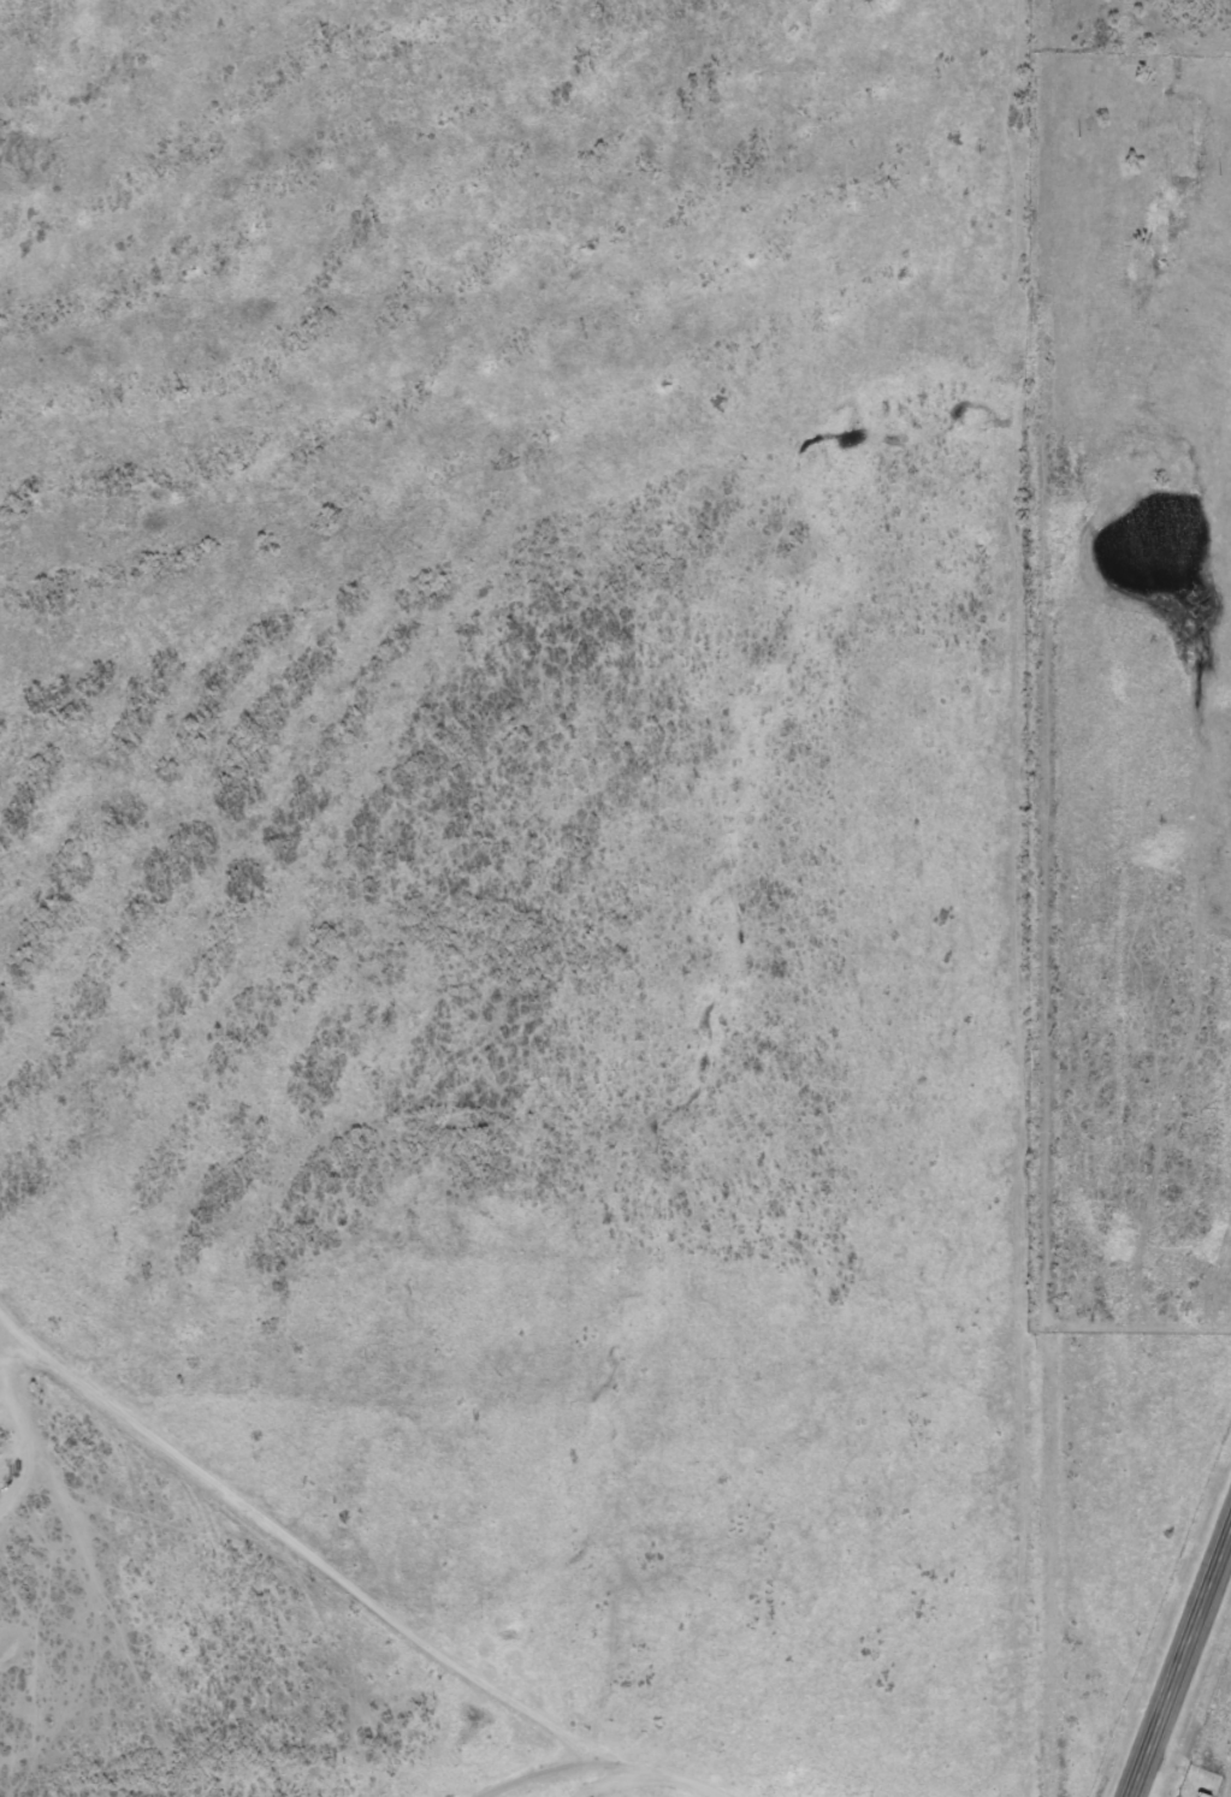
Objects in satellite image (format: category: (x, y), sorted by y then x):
road: (1180, 1663)

